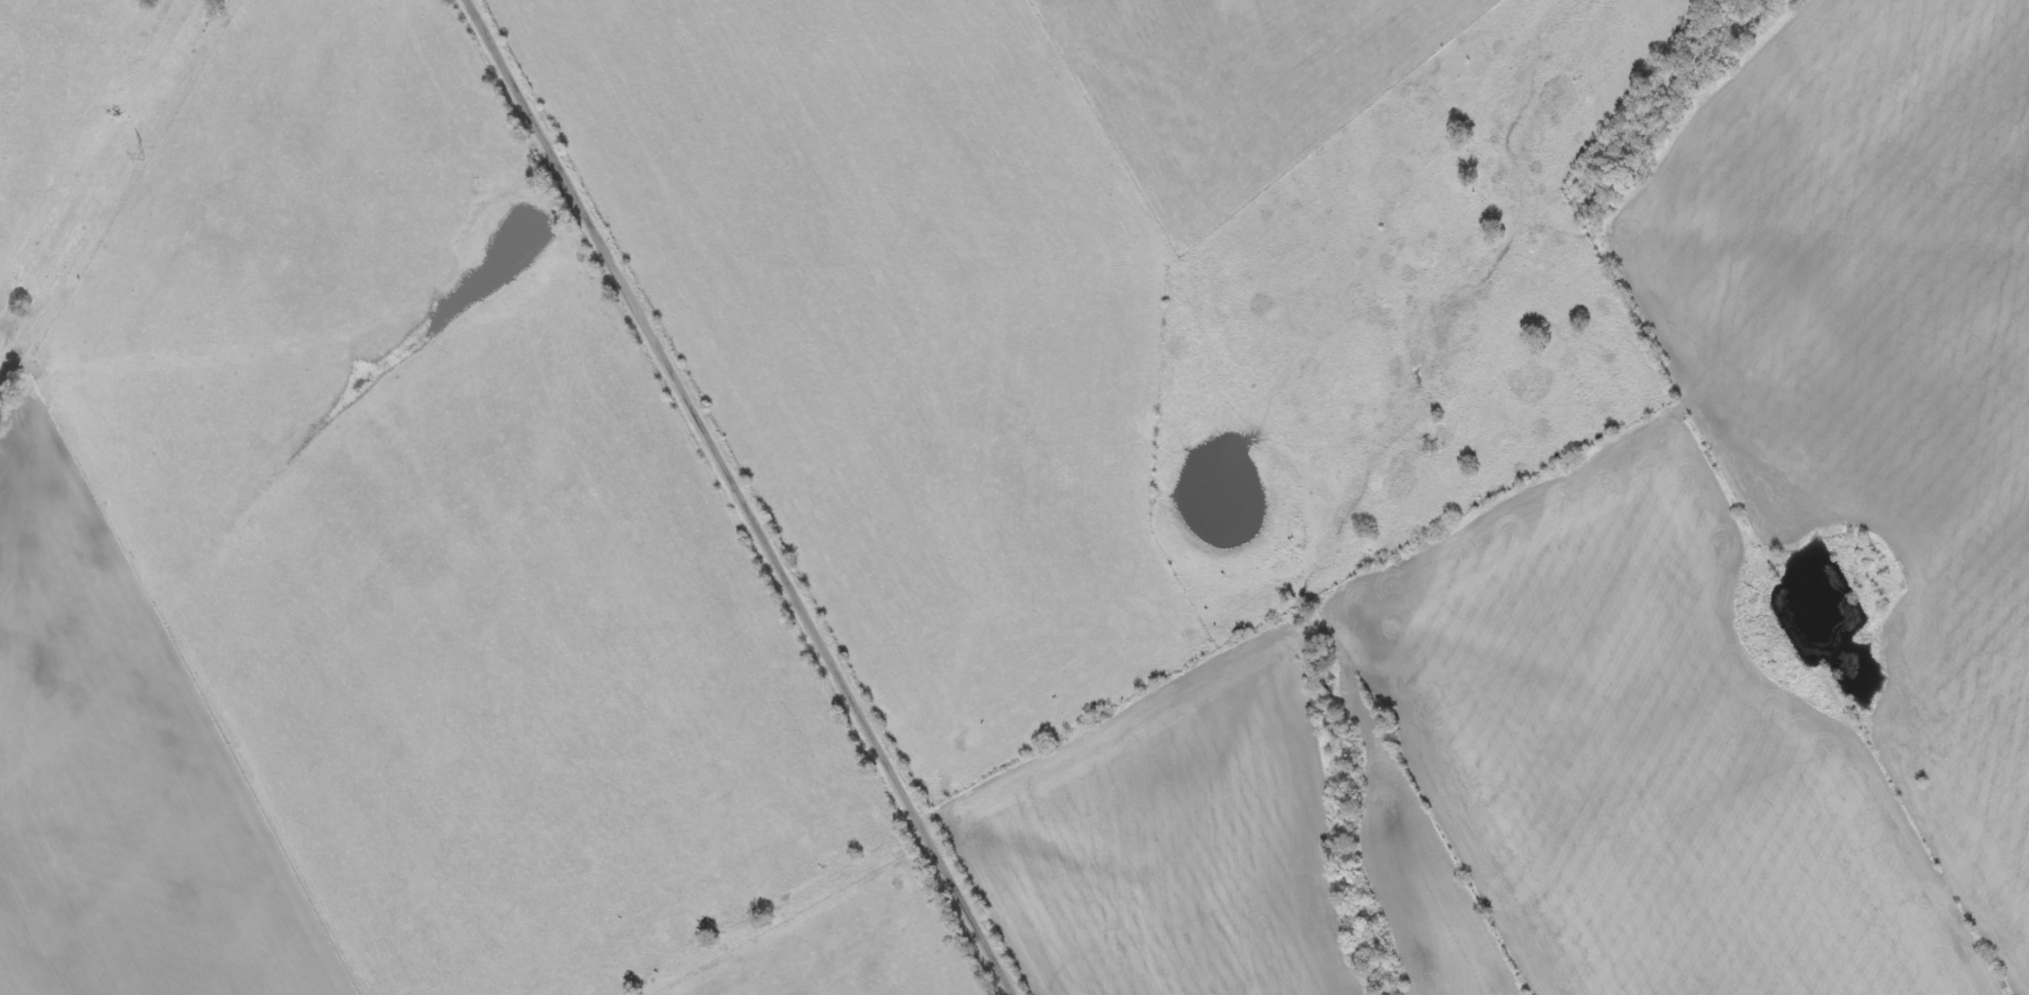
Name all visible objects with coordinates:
power tower: (141, 156)
railway: (97, 167)
road: (746, 496)

